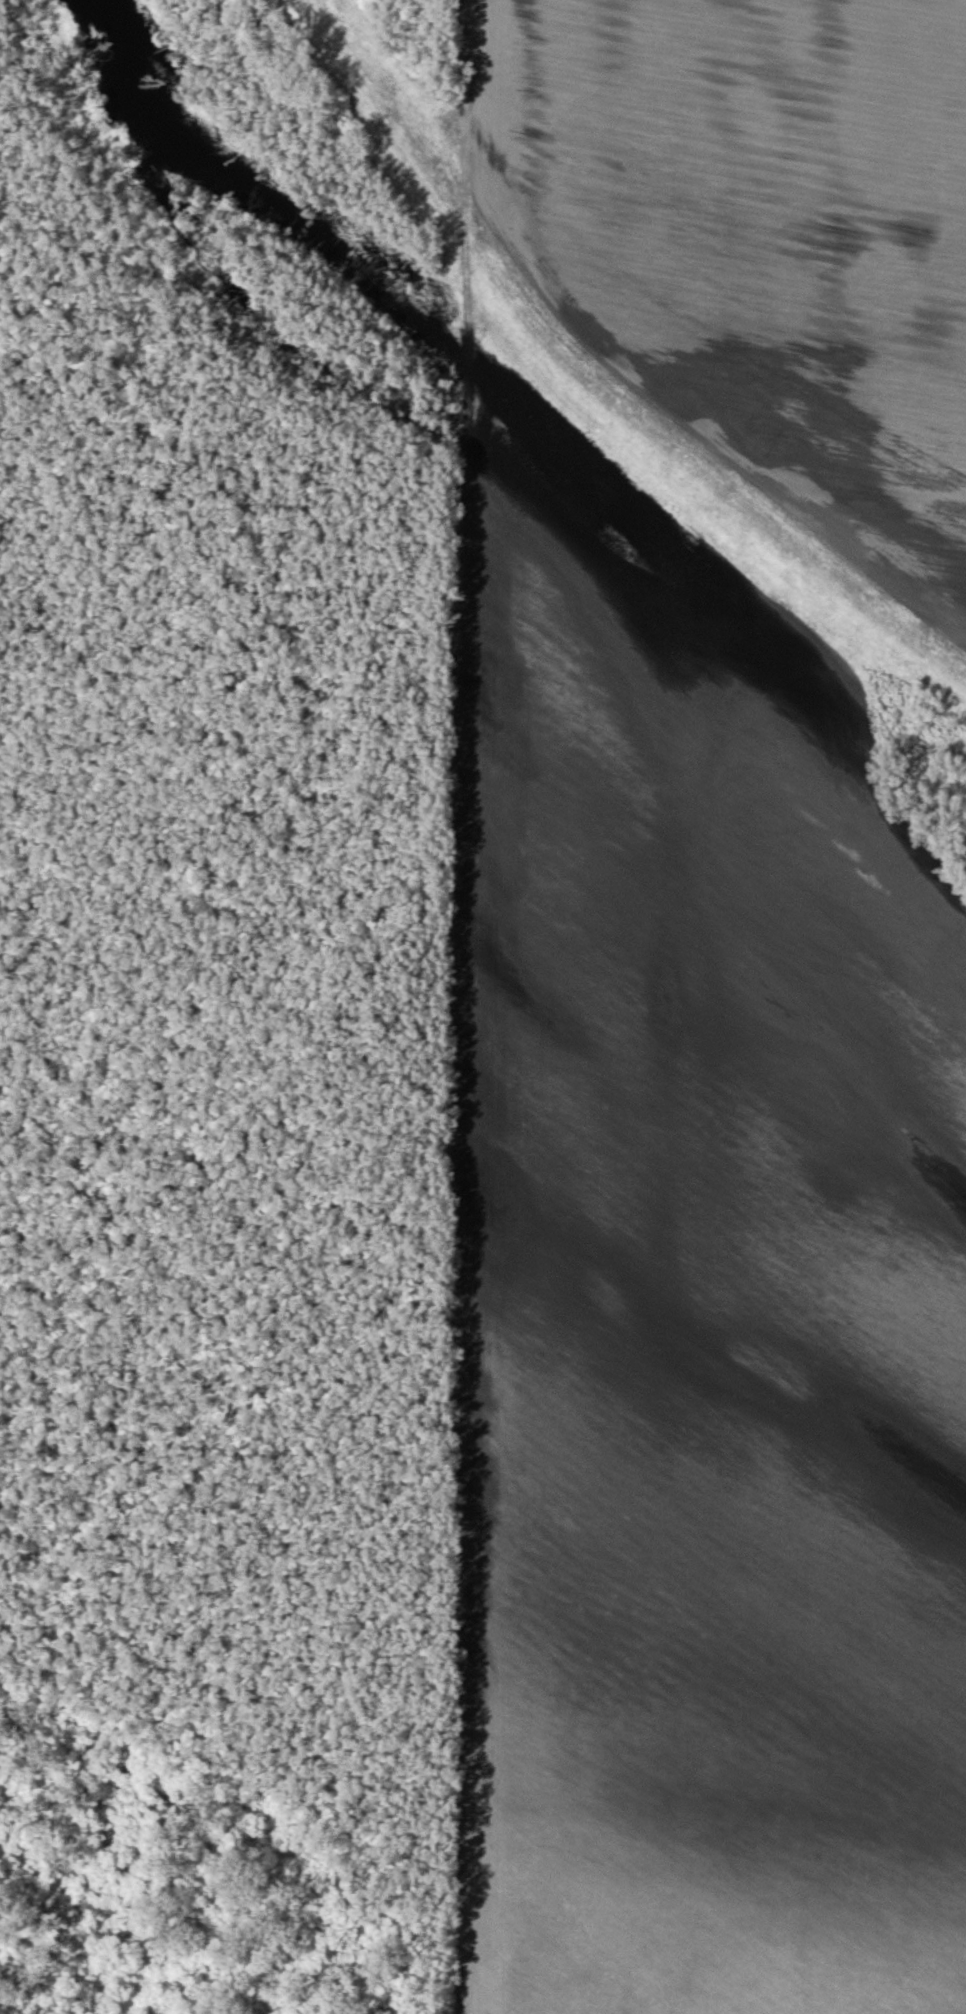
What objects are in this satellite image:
road: (452, 1005)

